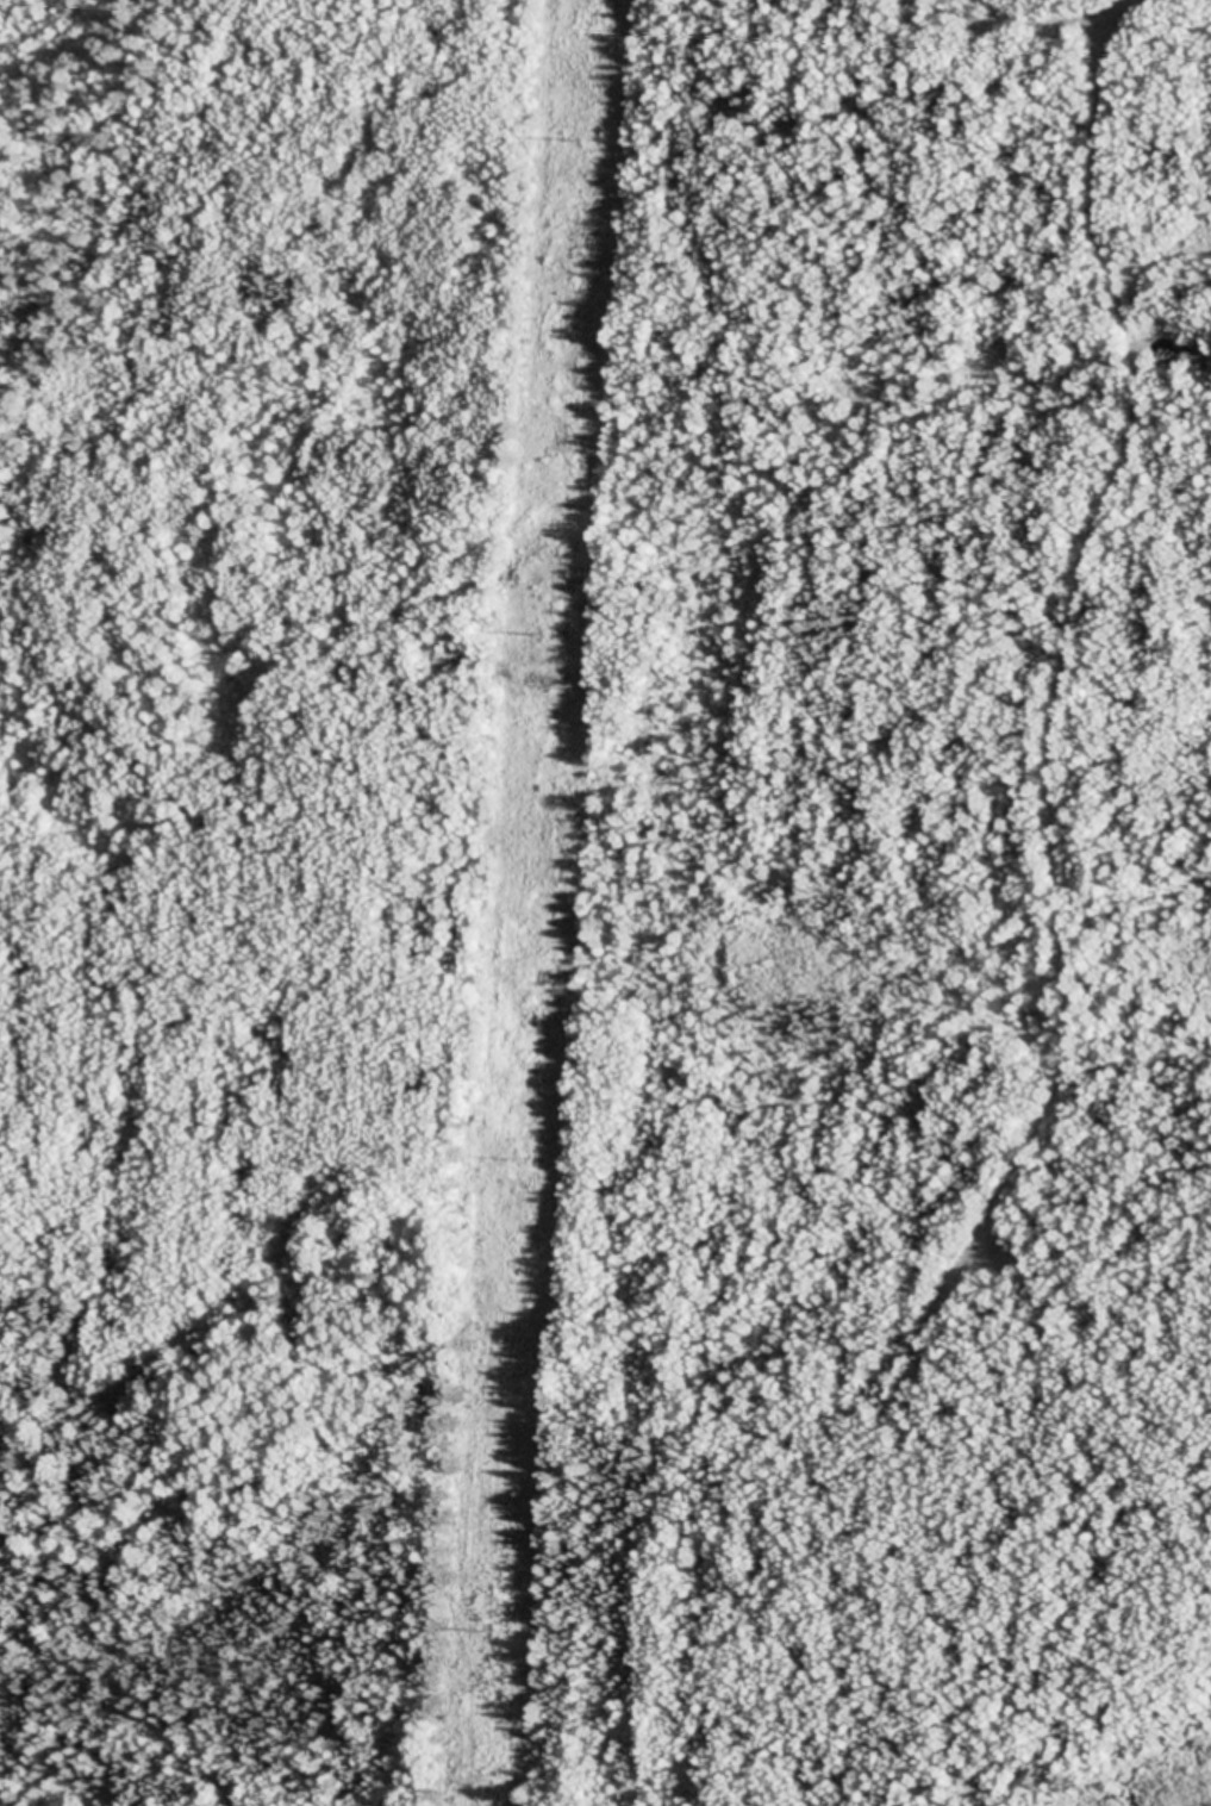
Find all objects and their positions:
power tower: (580, 143)
power tower: (550, 639)
power tower: (519, 1160)
power tower: (489, 1633)

